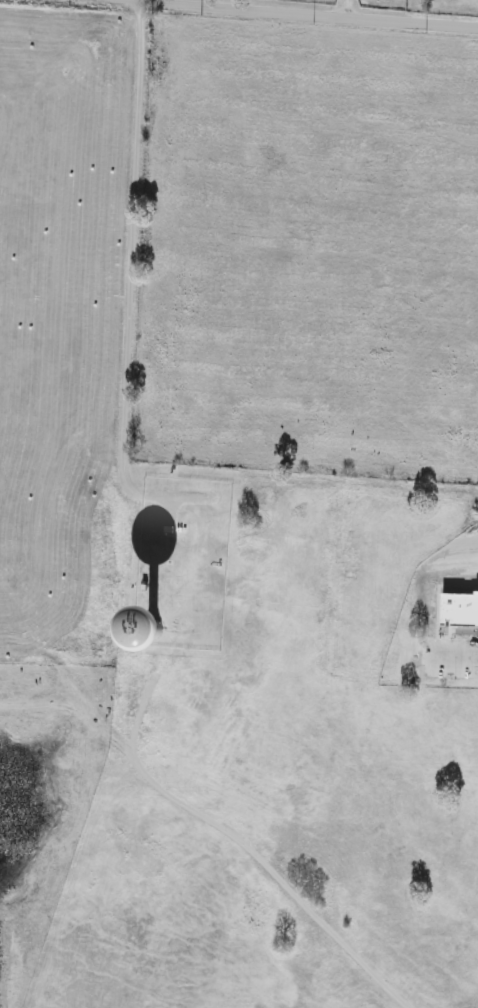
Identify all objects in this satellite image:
road: (342, 5)
road: (341, 9)
road: (126, 290)
road: (231, 837)

